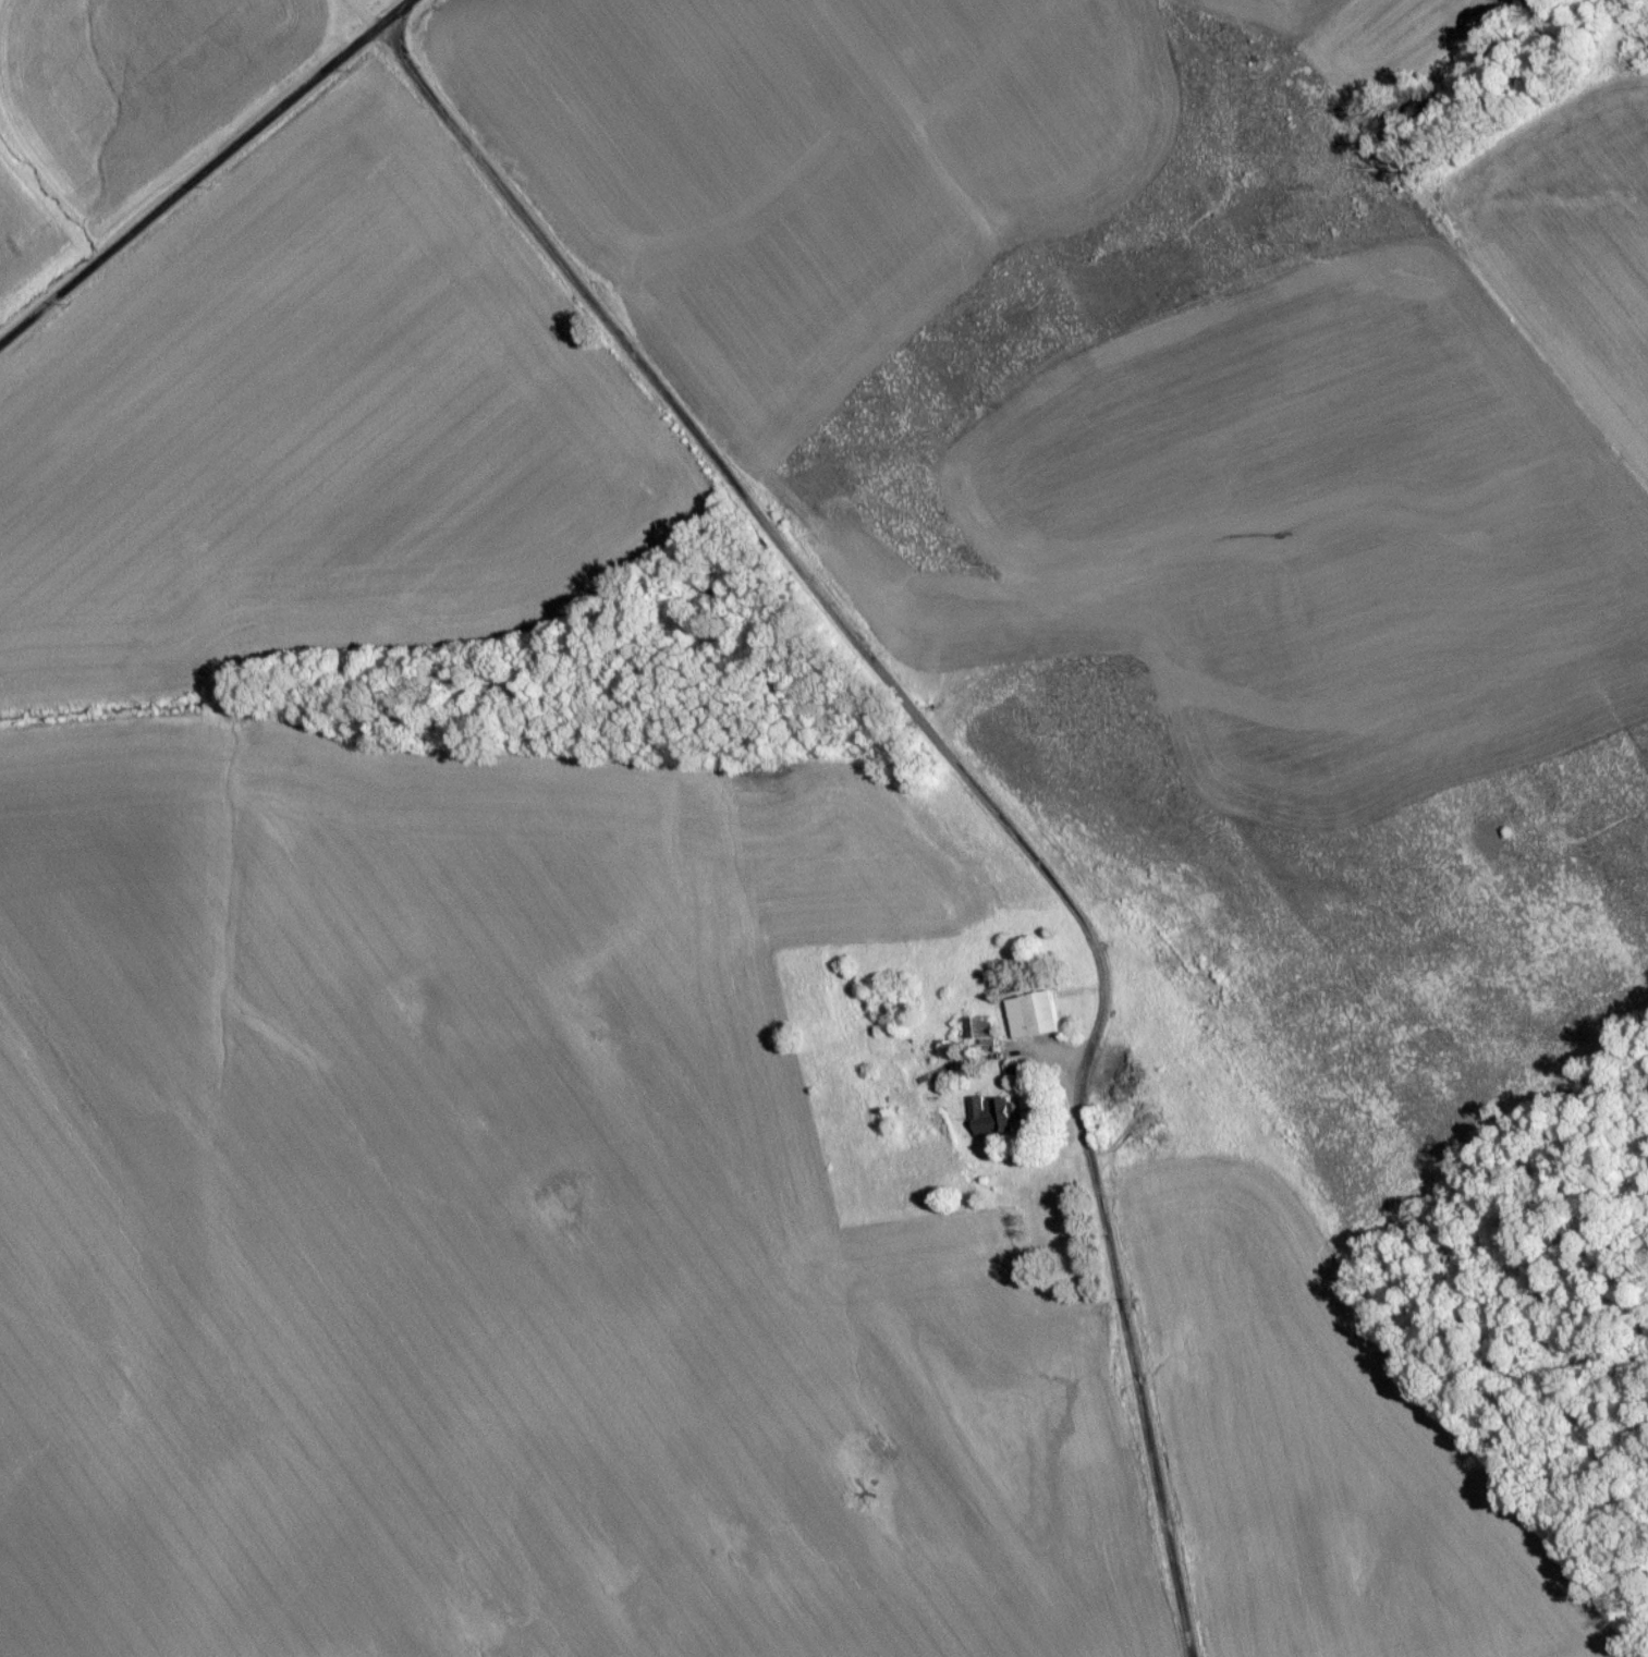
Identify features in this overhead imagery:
road: (376, 9)
road: (203, 165)
road: (971, 757)
building: (1041, 1021)
building: (997, 1117)

